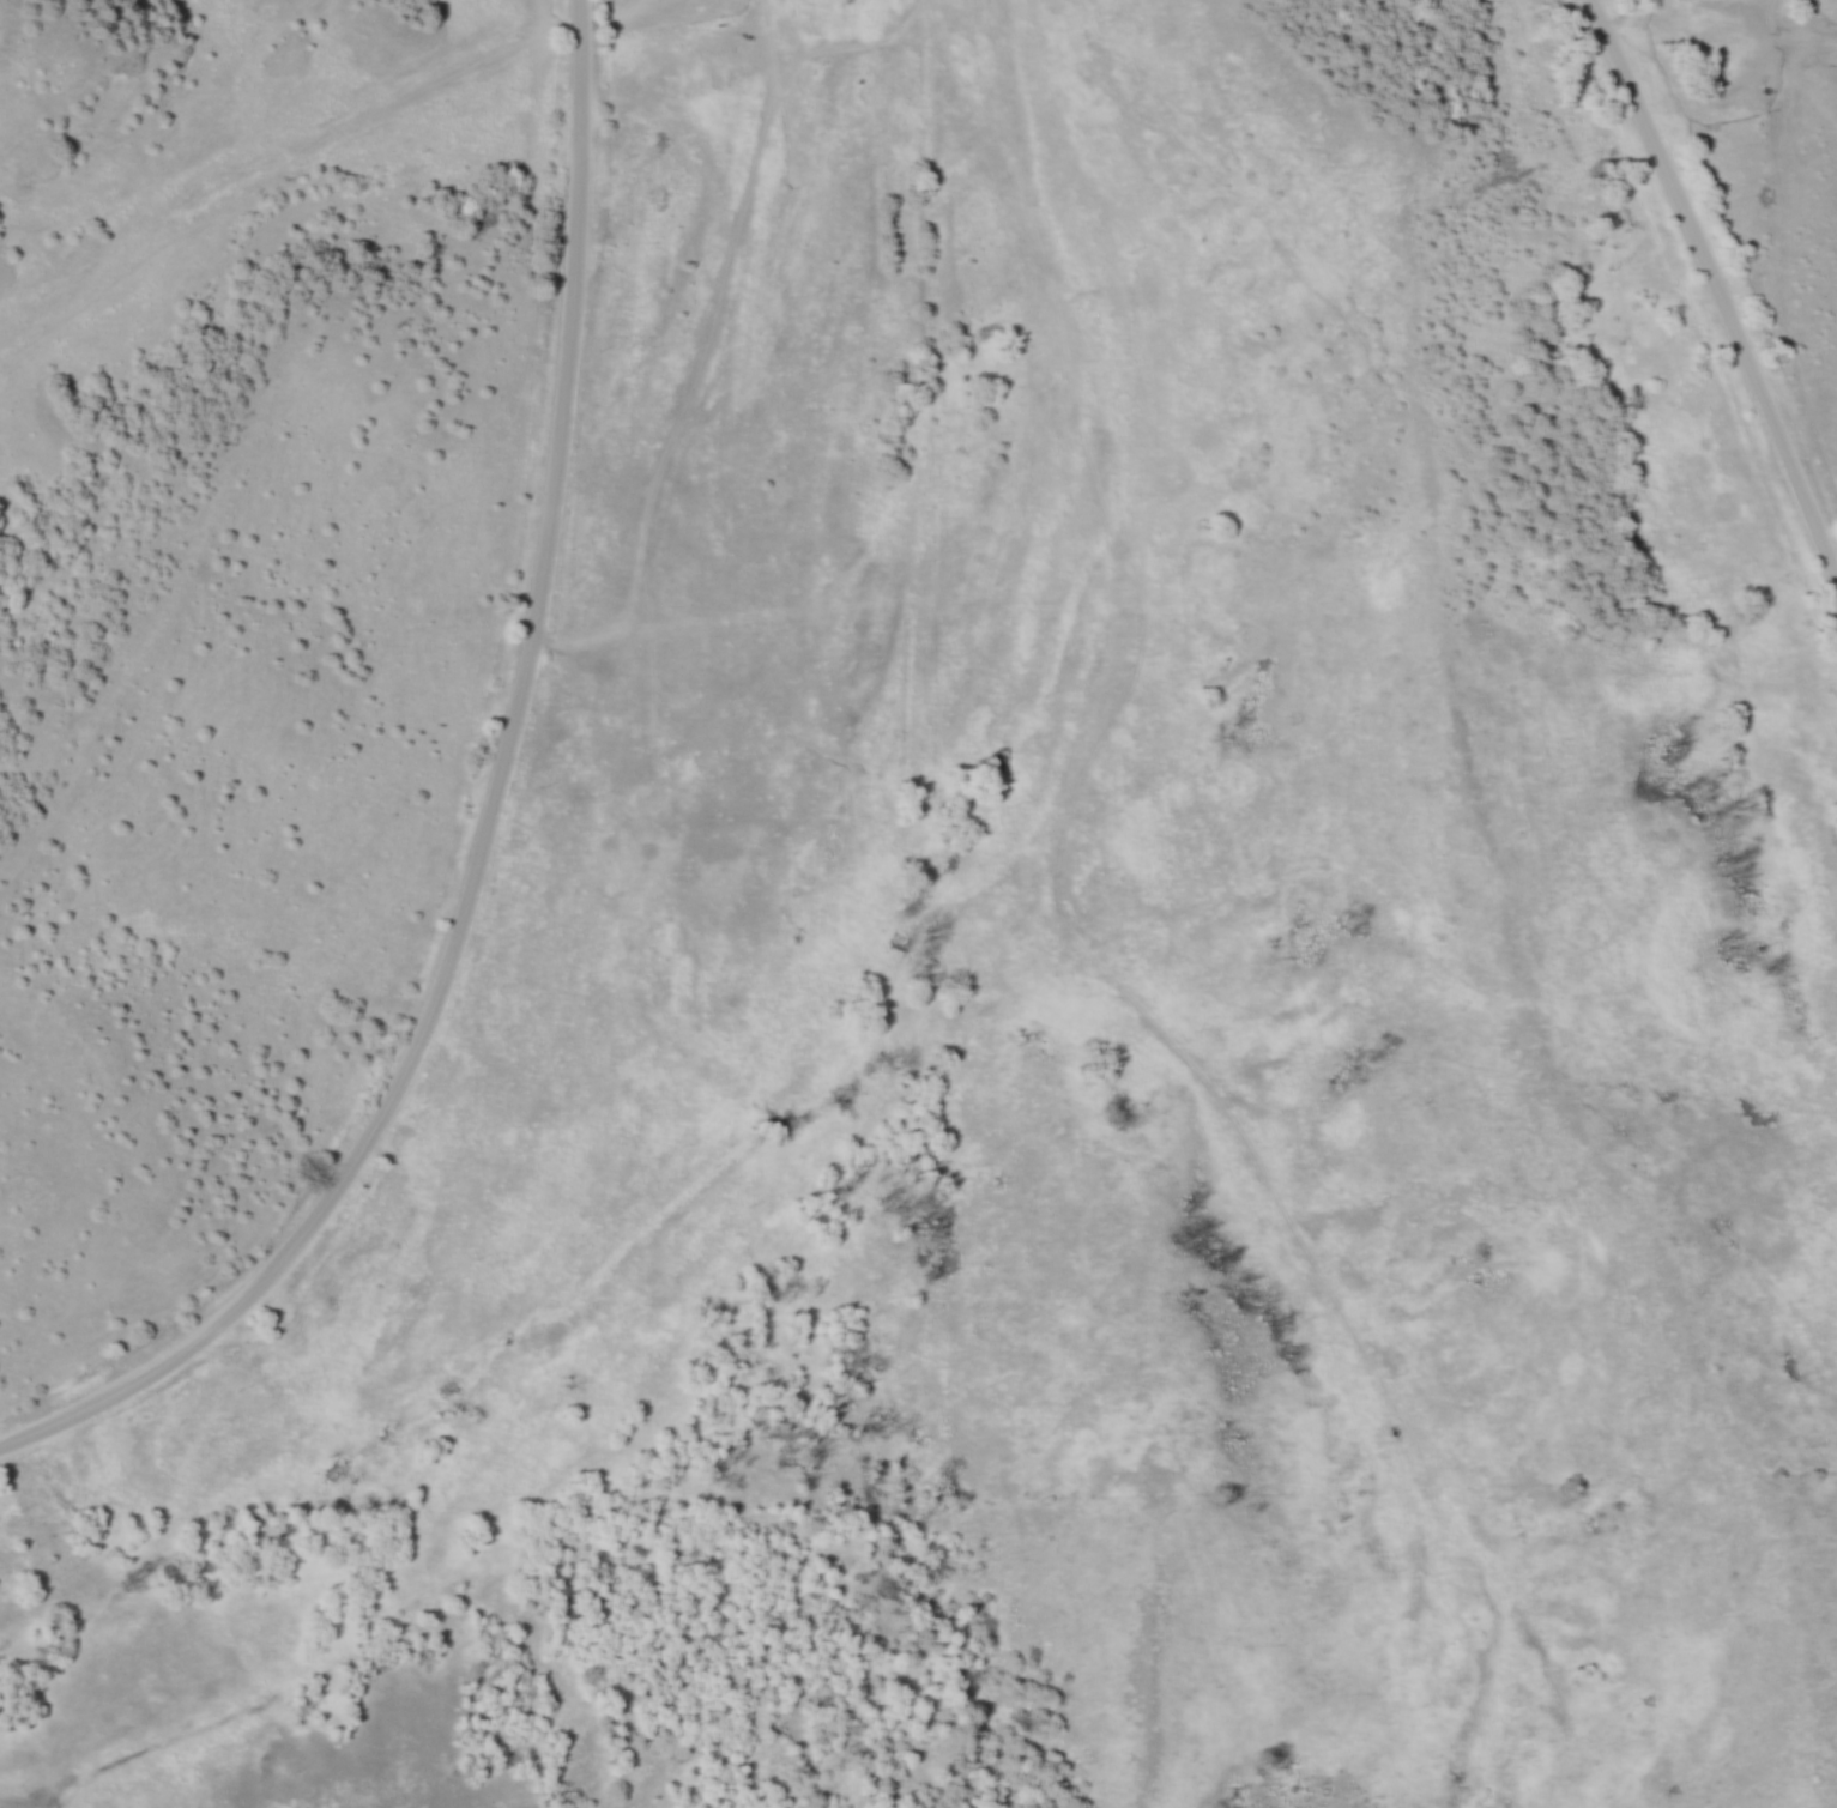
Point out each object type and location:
road: (1717, 289)
road: (483, 821)

